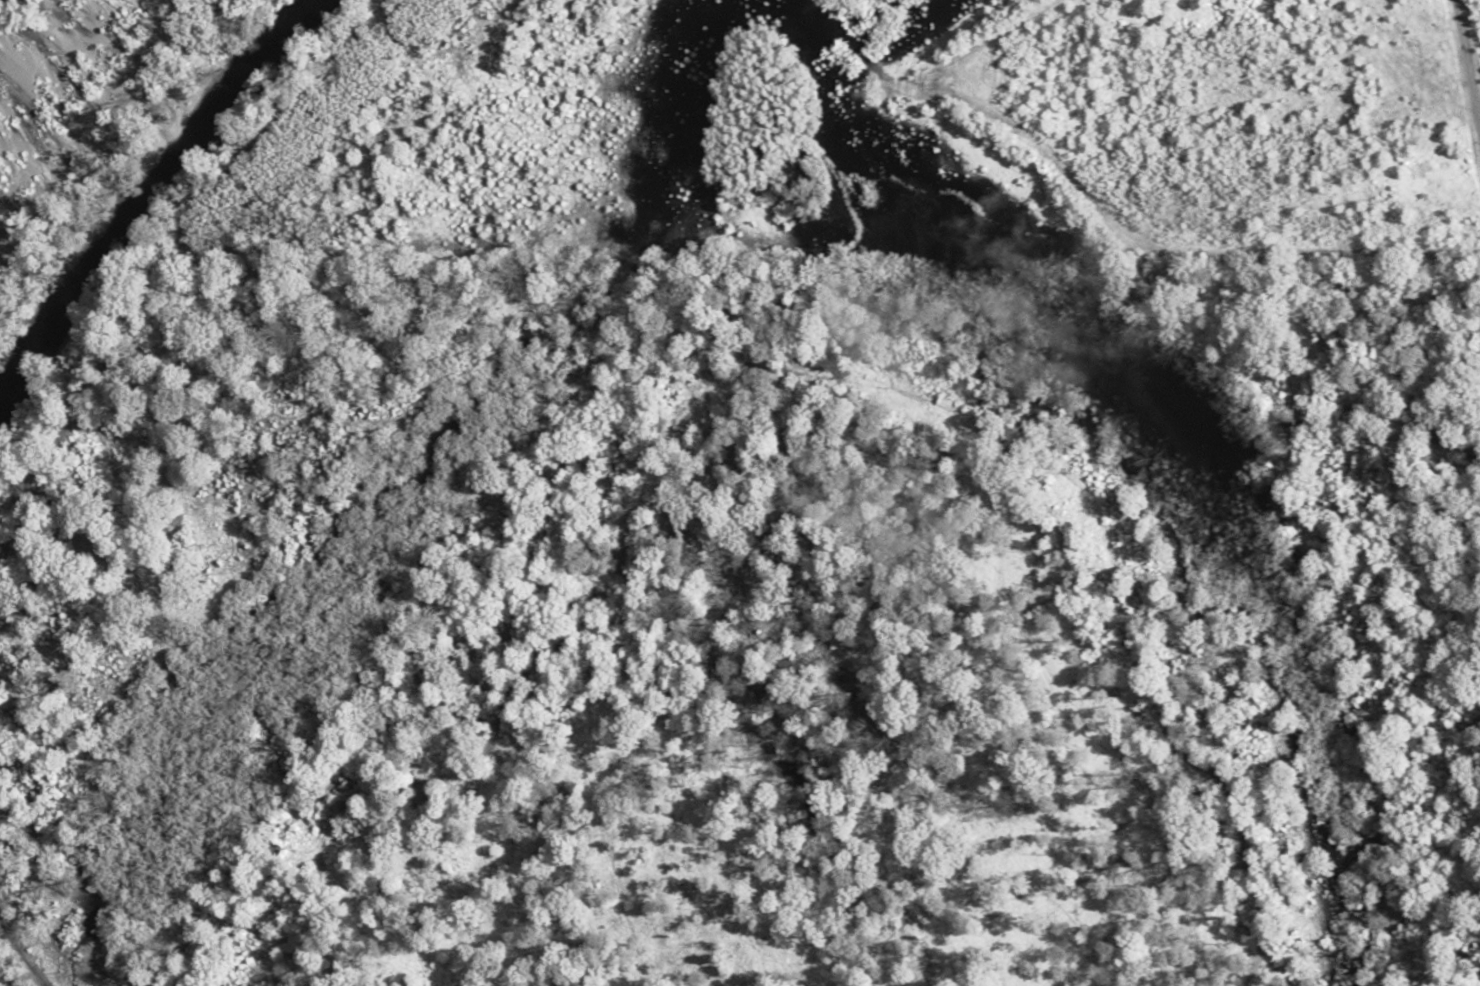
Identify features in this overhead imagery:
road: (1465, 77)

